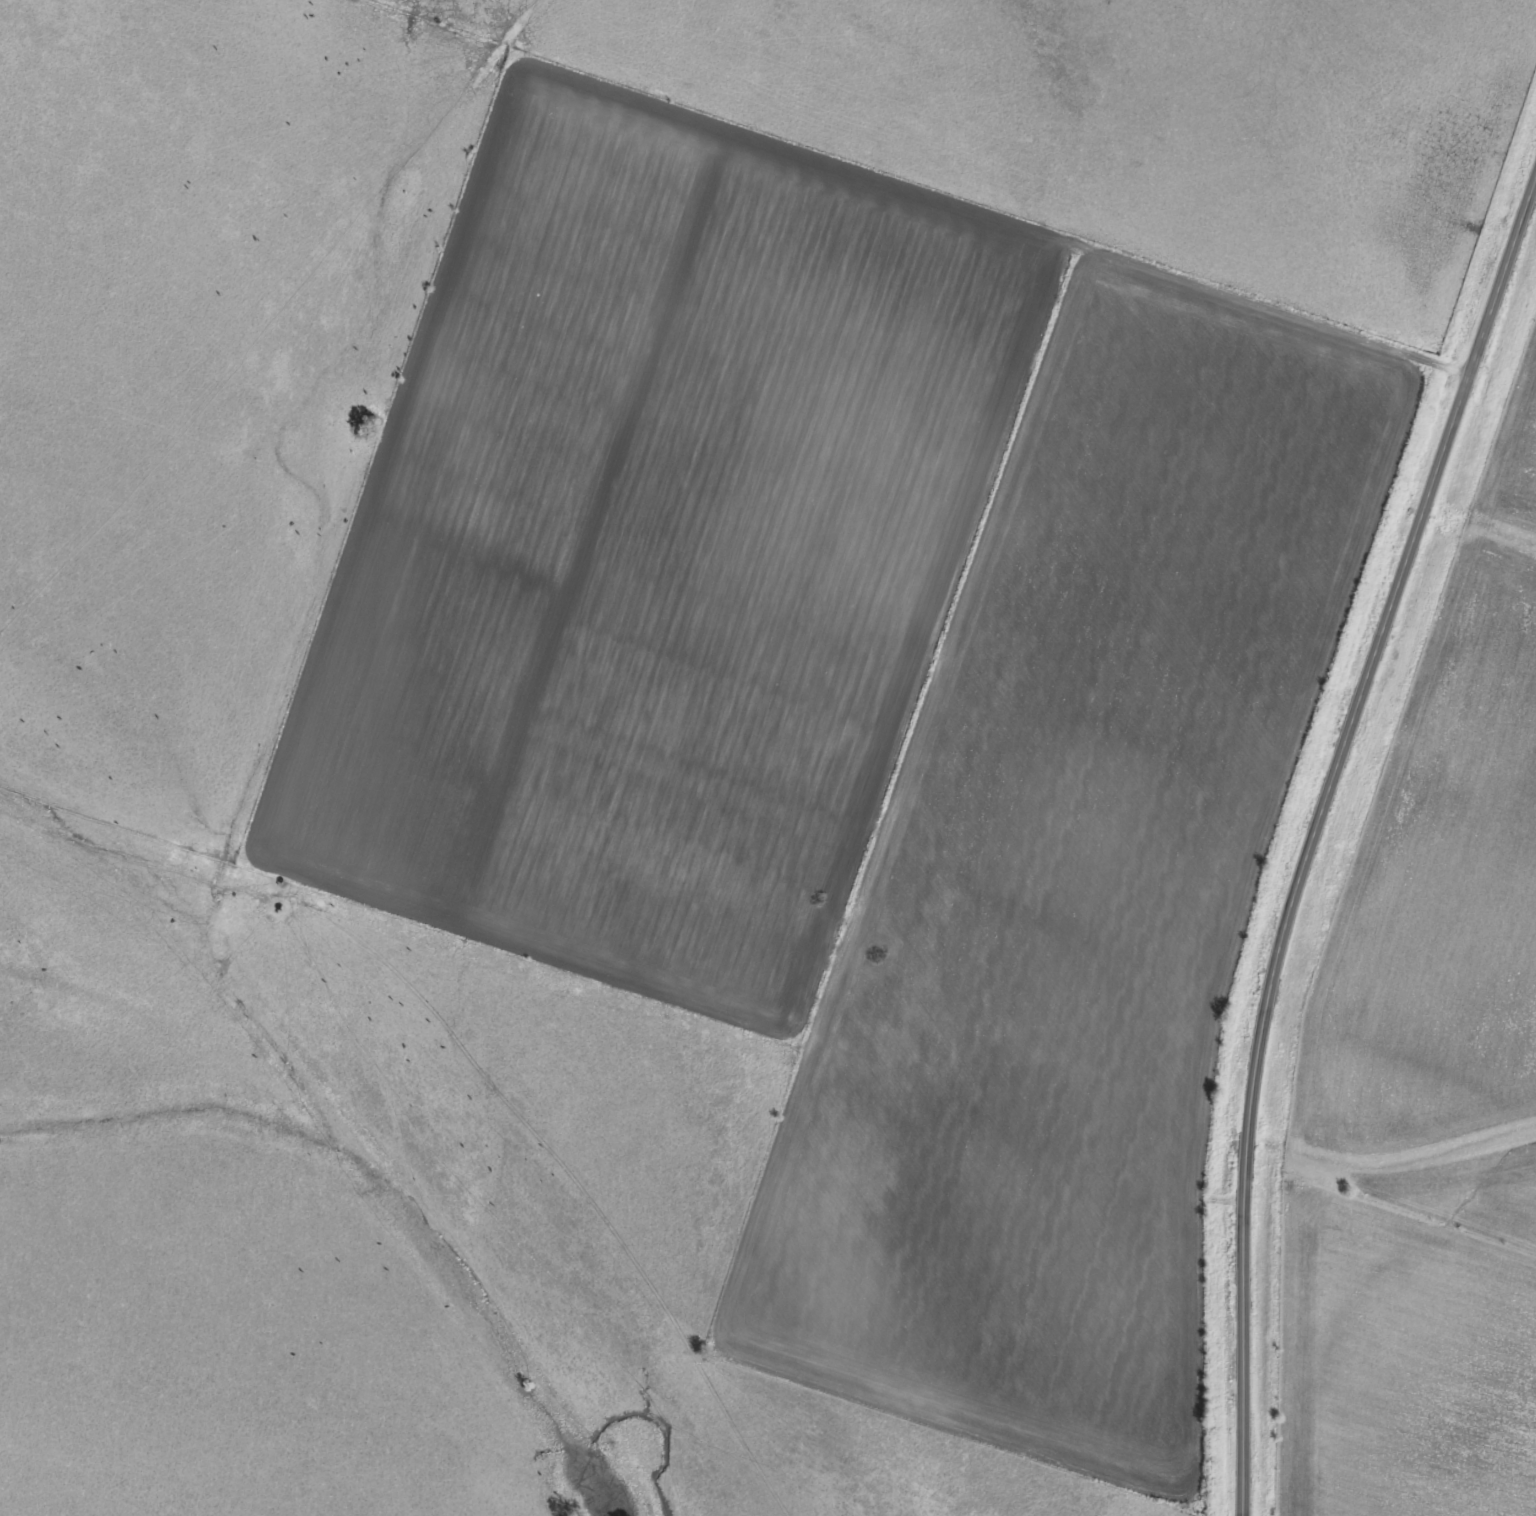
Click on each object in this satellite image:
road: (1313, 829)

